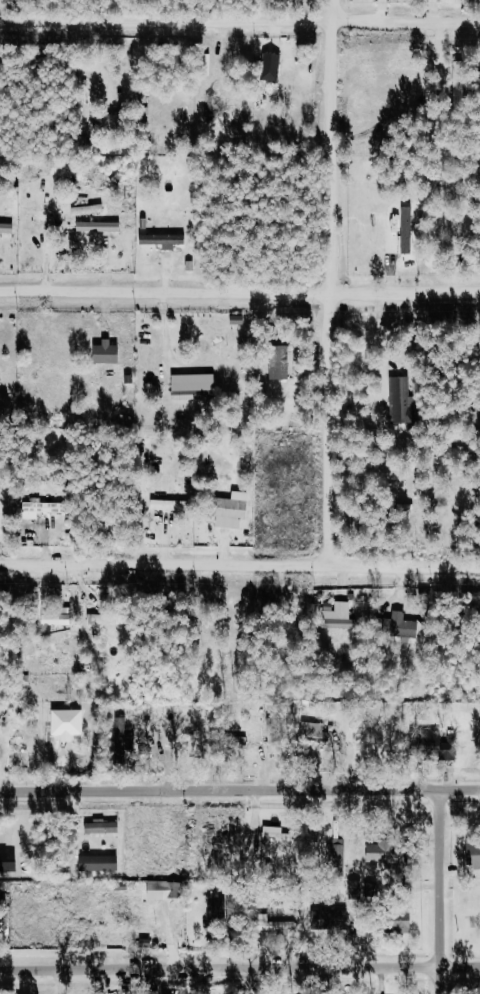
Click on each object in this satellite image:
road: (240, 19)
building: (294, 61)
building: (273, 66)
building: (114, 121)
building: (41, 214)
building: (101, 226)
building: (8, 227)
building: (412, 227)
building: (166, 239)
road: (330, 282)
road: (240, 288)
building: (109, 352)
building: (282, 361)
building: (196, 386)
building: (402, 399)
building: (172, 504)
building: (48, 506)
building: (233, 509)
road: (239, 565)
building: (340, 615)
building: (59, 618)
building: (110, 619)
building: (403, 625)
building: (315, 729)
building: (127, 737)
building: (248, 739)
building: (442, 746)
road: (239, 790)
building: (105, 827)
building: (280, 835)
building: (387, 852)
building: (475, 853)
building: (337, 854)
building: (8, 863)
building: (101, 863)
building: (161, 890)
road: (439, 891)
building: (223, 910)
building: (331, 919)
building: (283, 923)
road: (240, 968)

